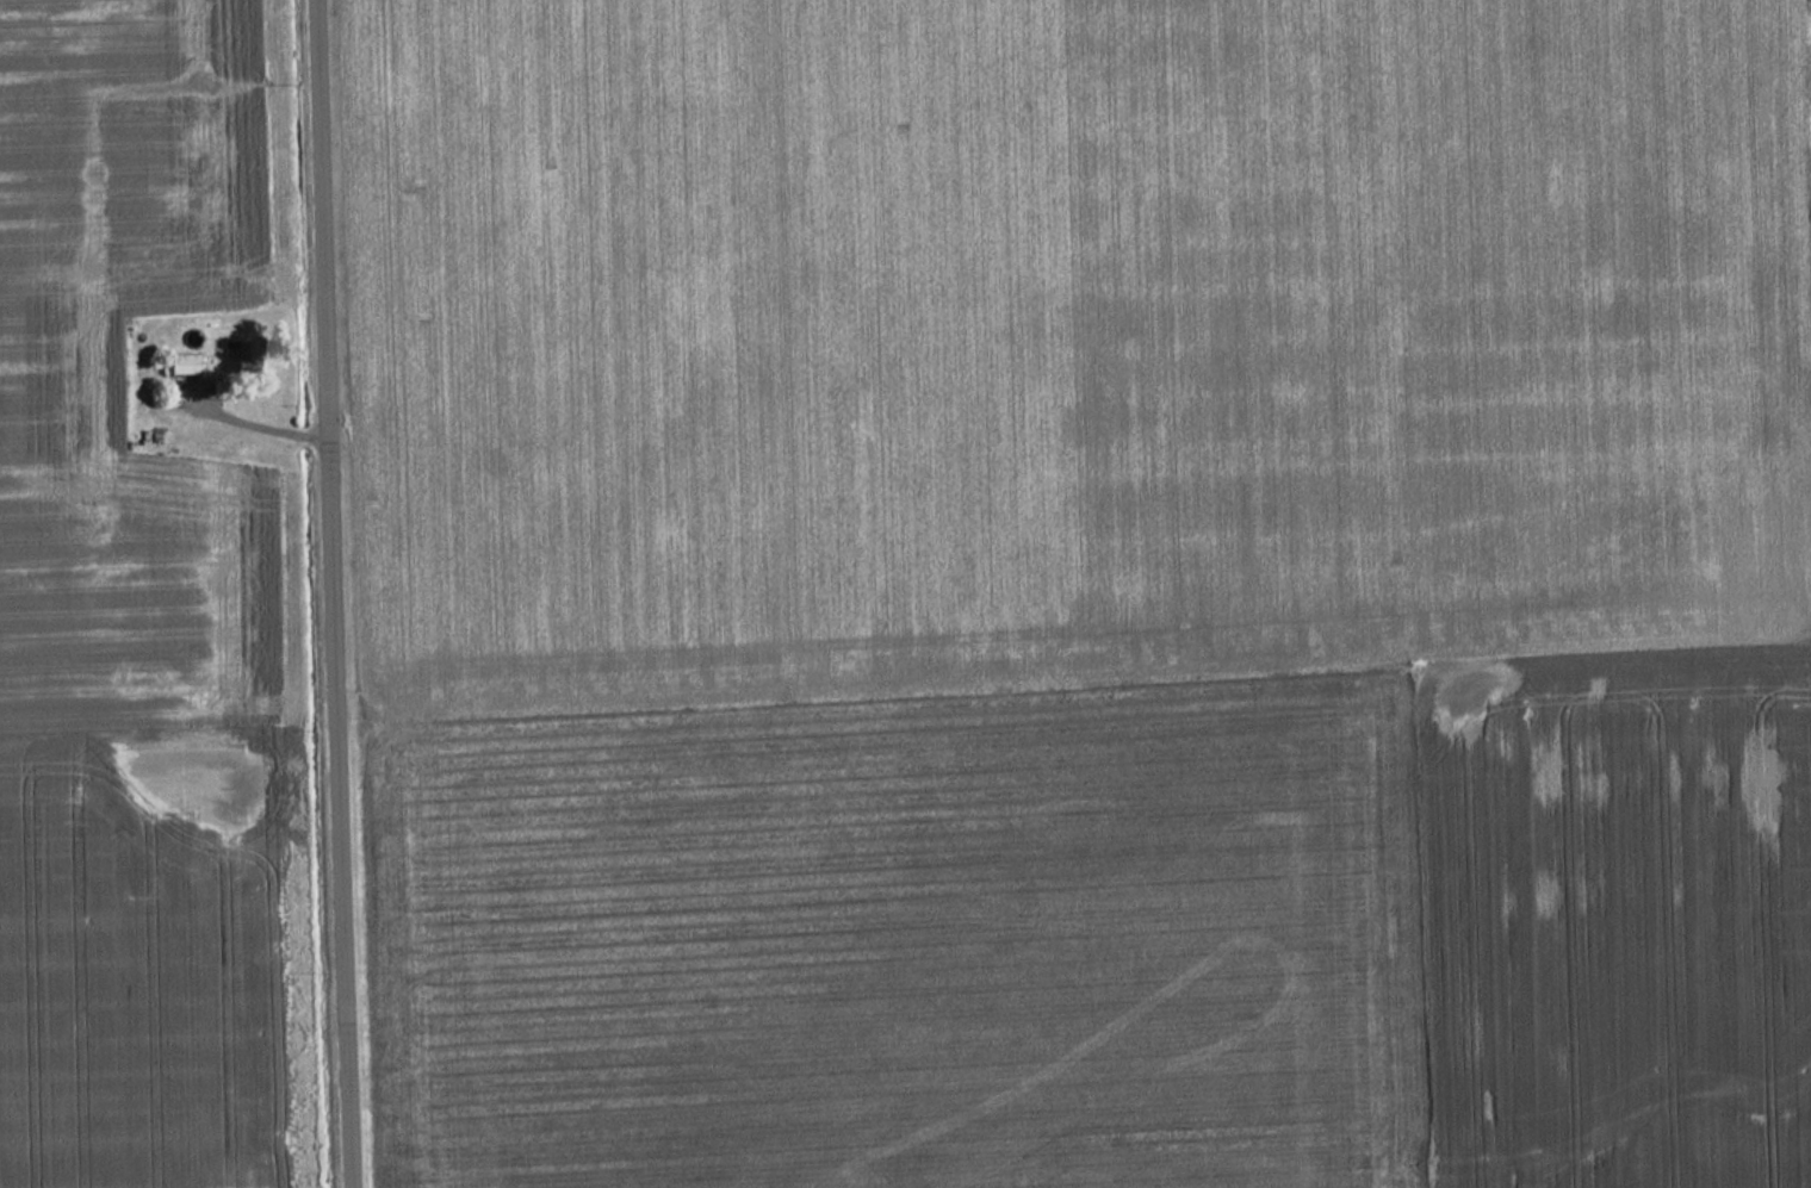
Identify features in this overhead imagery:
crop: (1066, 338)
building: (188, 365)
crop: (56, 385)
road: (255, 427)
road: (333, 593)
crop: (1110, 932)
crop: (136, 958)

